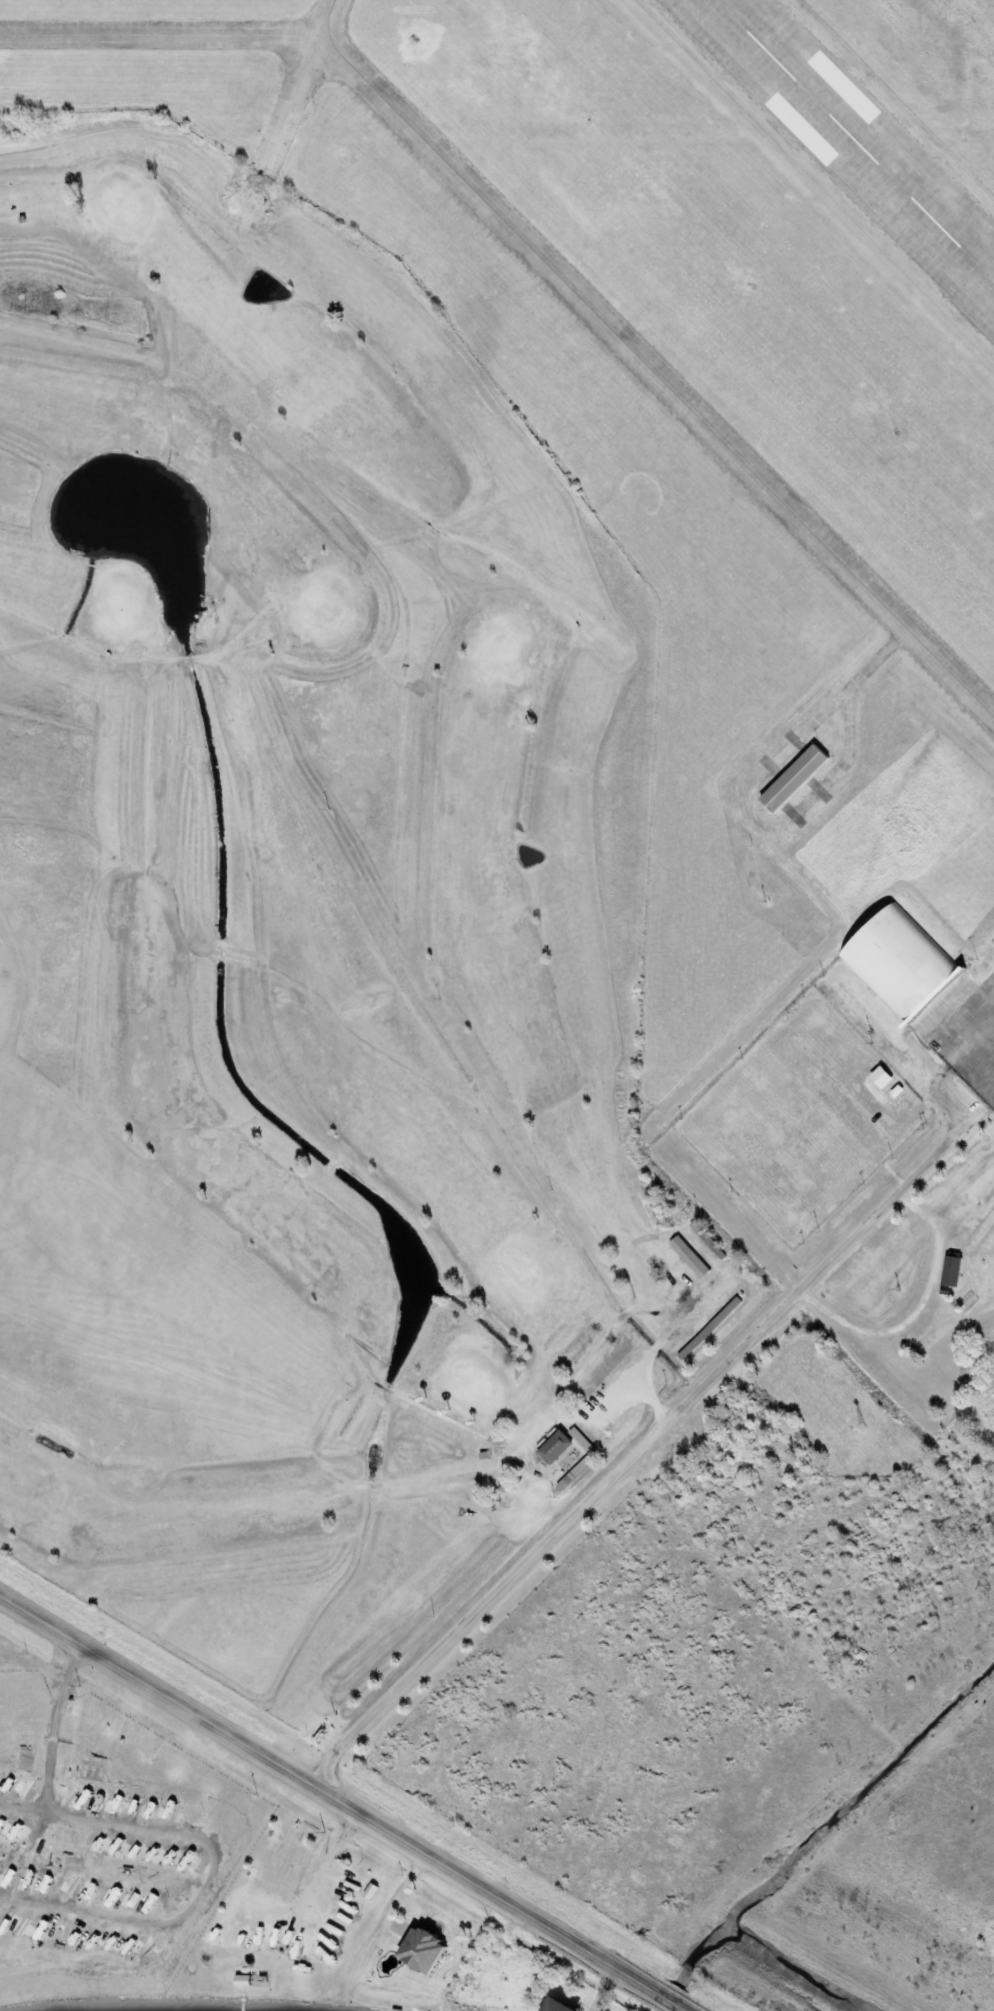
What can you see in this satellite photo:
airport taxiway: (325, 18)
airport taxiway: (159, 37)
airport runway: (854, 141)
road: (22, 212)
airport taxiway: (656, 378)
airport: (718, 531)
road: (500, 556)
road: (136, 662)
road: (140, 677)
road: (148, 767)
building: (796, 777)
road: (328, 861)
park: (309, 908)
building: (900, 960)
airport apron: (965, 1032)
road: (535, 1197)
building: (711, 1245)
building: (691, 1257)
building: (953, 1270)
road: (699, 1294)
building: (710, 1328)
road: (622, 1390)
road: (651, 1394)
road: (549, 1423)
road: (485, 1437)
building: (554, 1448)
road: (641, 1449)
road: (347, 1799)
building: (370, 1892)
building: (420, 1952)
building: (241, 1978)
building: (561, 2005)

